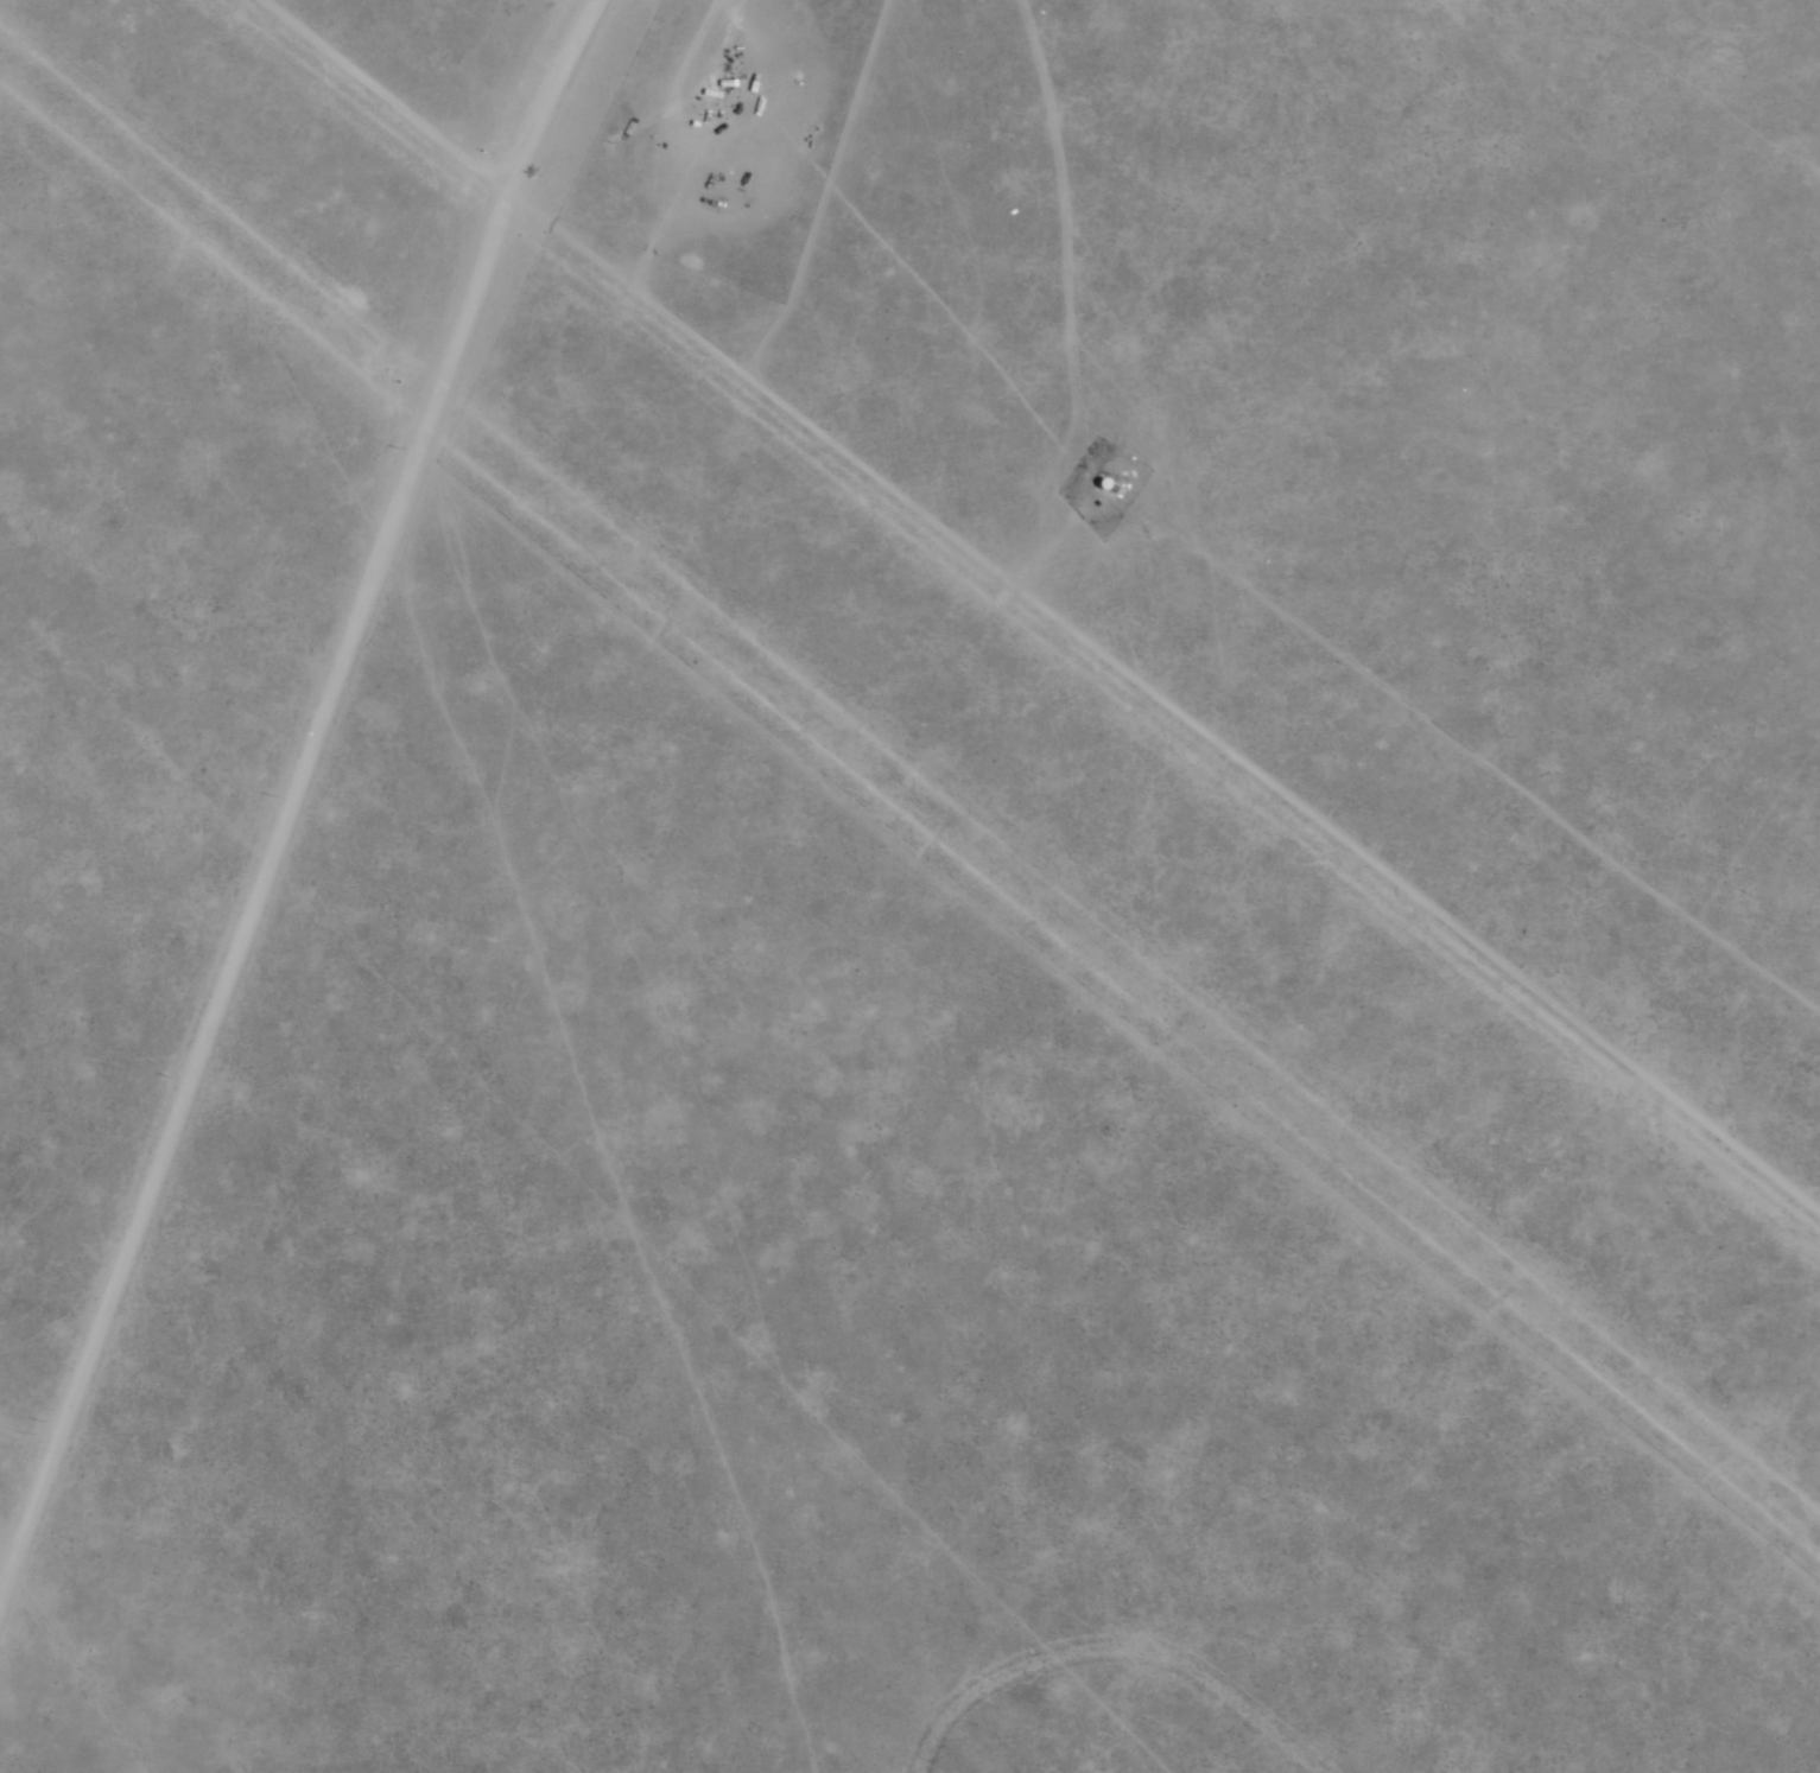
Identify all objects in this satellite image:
road: (1023, 619)
road: (291, 786)
road: (909, 789)

